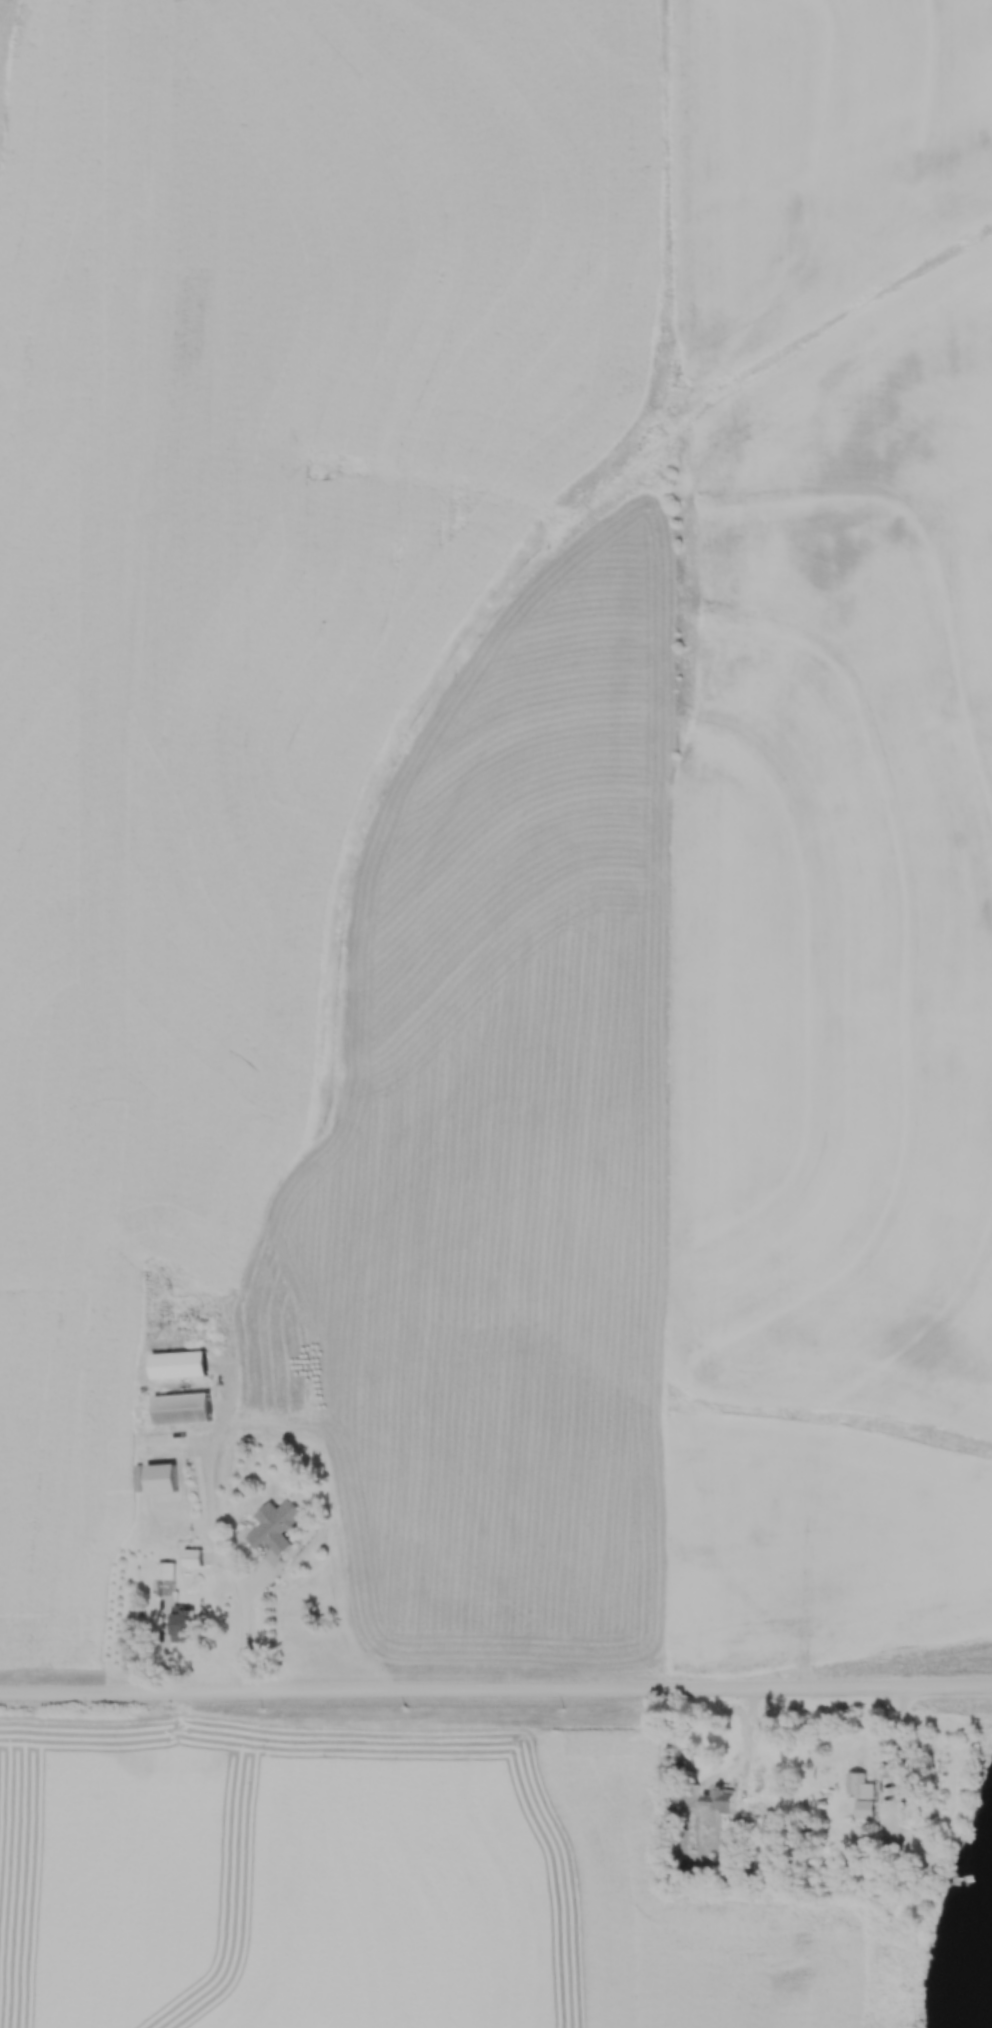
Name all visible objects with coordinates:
building: (176, 1364)
building: (180, 1408)
building: (273, 1526)
building: (190, 1557)
building: (165, 1579)
road: (246, 1619)
building: (181, 1624)
road: (496, 1693)
road: (903, 1748)
building: (860, 1795)
building: (717, 1800)

